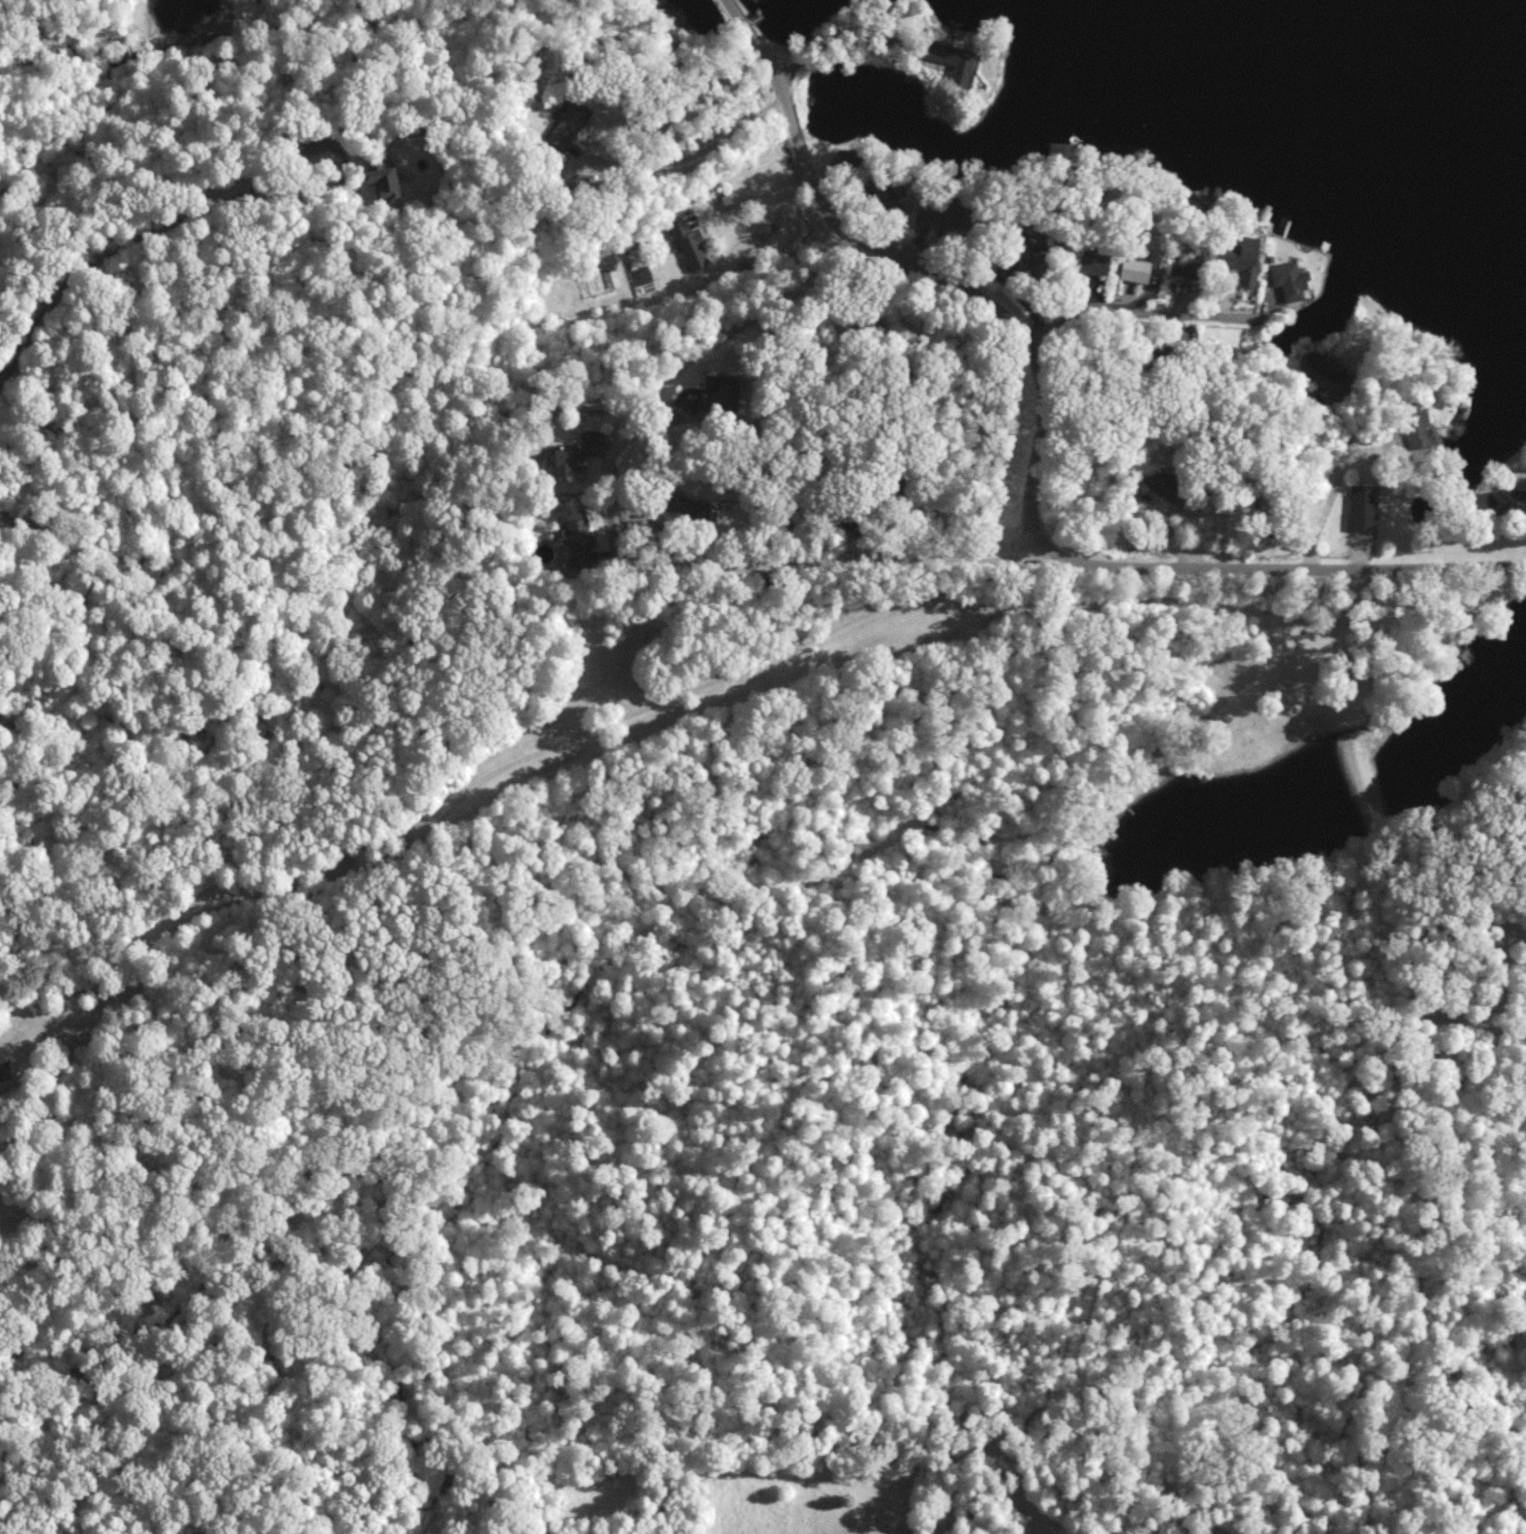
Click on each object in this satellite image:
building: (954, 58)
road: (851, 63)
building: (567, 124)
road: (691, 153)
building: (383, 178)
road: (754, 188)
building: (882, 191)
building: (946, 211)
road: (129, 242)
building: (690, 243)
building: (1245, 258)
building: (1095, 260)
building: (1189, 266)
building: (1137, 268)
road: (936, 269)
building: (1289, 279)
road: (1096, 289)
building: (1327, 373)
road: (1290, 376)
building: (721, 396)
road: (14, 431)
building: (1419, 432)
building: (569, 458)
building: (1168, 485)
building: (1507, 502)
building: (1363, 506)
building: (686, 512)
building: (579, 541)
road: (632, 543)
road: (1279, 577)
road: (346, 890)
building: (5, 1069)

